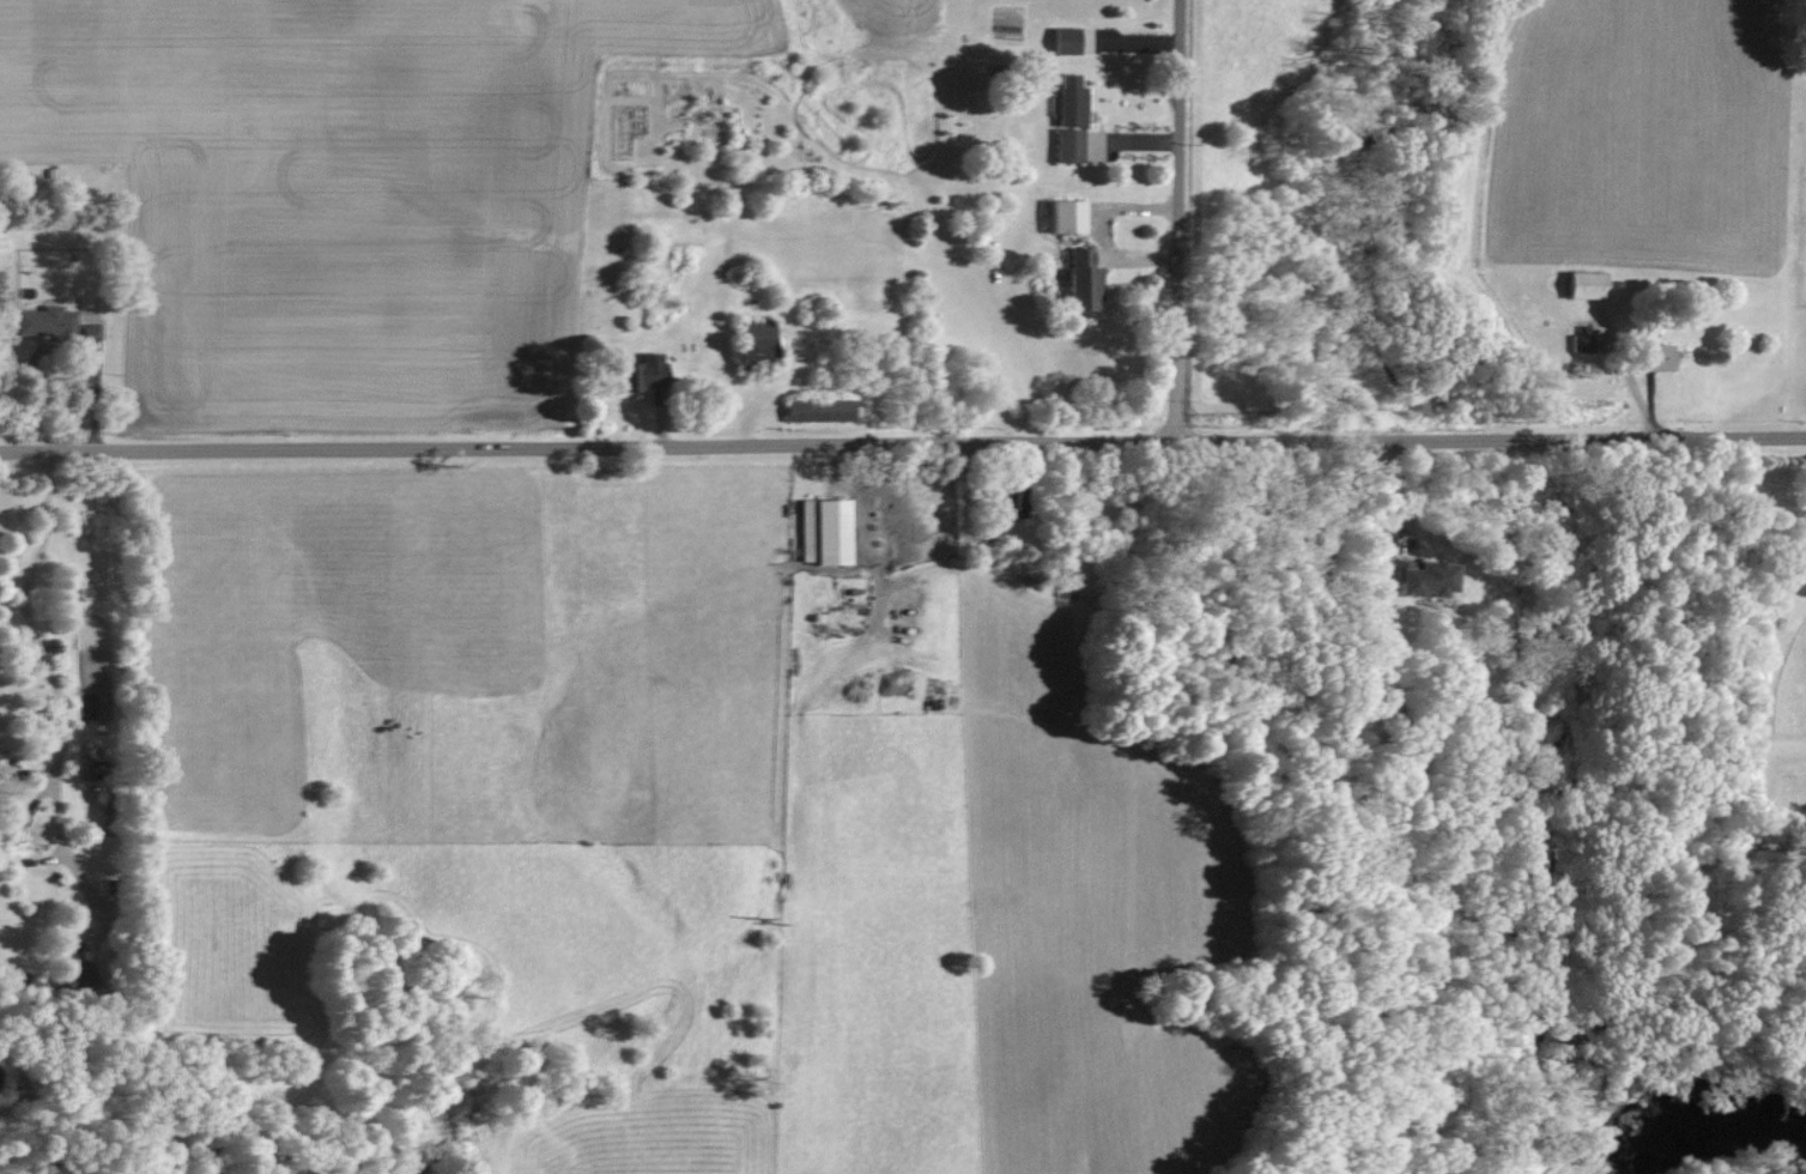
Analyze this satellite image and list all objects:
building: (1061, 41)
building: (1067, 120)
building: (1063, 216)
road: (1177, 220)
building: (1079, 282)
building: (1583, 285)
building: (43, 322)
building: (751, 343)
building: (1580, 343)
building: (1650, 356)
building: (638, 374)
building: (816, 411)
road: (902, 443)
building: (822, 532)
building: (1416, 577)
road: (62, 713)
building: (73, 976)
river: (1740, 1136)

